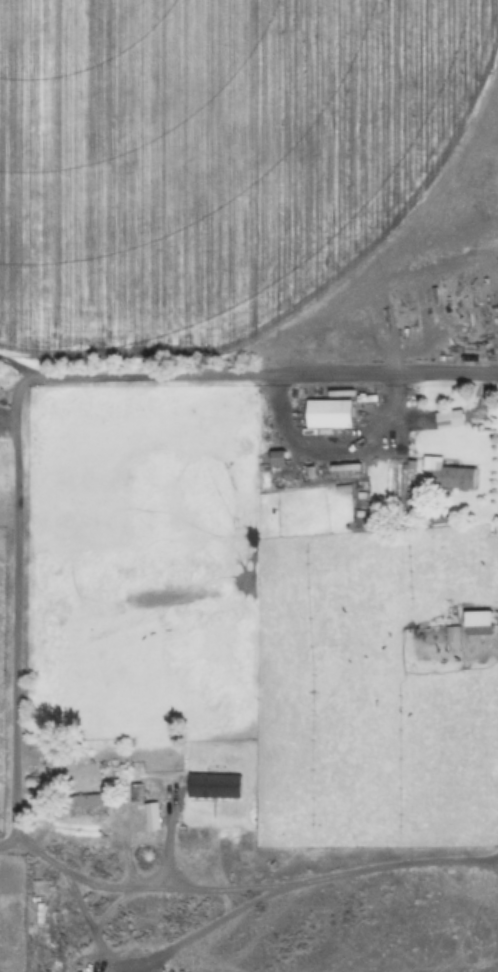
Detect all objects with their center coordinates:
road: (26, 390)
building: (330, 414)
building: (452, 478)
crop: (249, 486)
building: (479, 623)
building: (454, 634)
building: (216, 787)
building: (137, 795)
building: (86, 807)
building: (154, 817)

